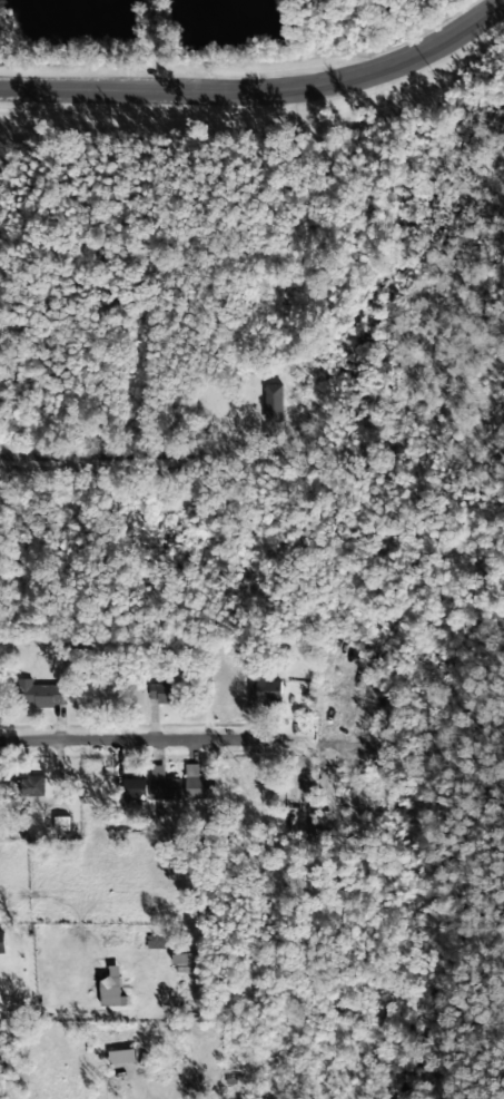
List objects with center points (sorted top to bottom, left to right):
road: (261, 81)
building: (273, 403)
road: (103, 460)
building: (374, 666)
building: (265, 691)
building: (162, 693)
building: (41, 695)
road: (154, 744)
building: (197, 784)
building: (162, 785)
building: (30, 786)
building: (134, 789)
building: (2, 943)
building: (110, 987)
building: (121, 1057)
building: (0, 1066)

